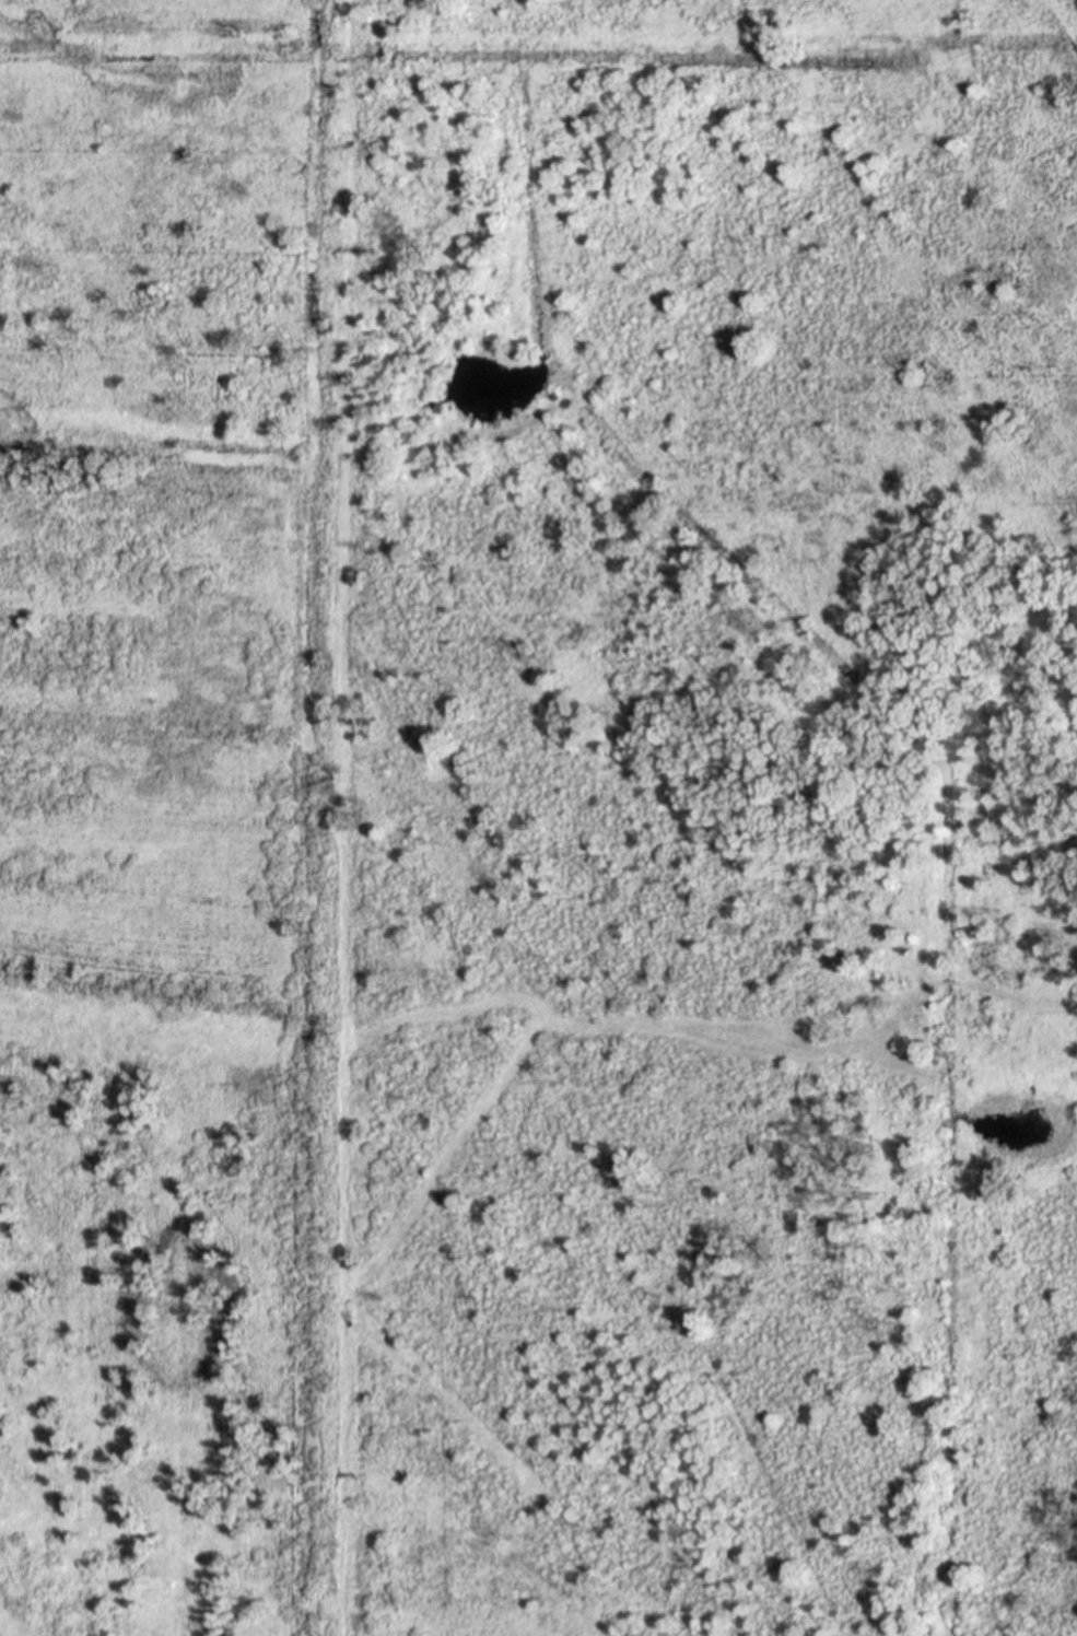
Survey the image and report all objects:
building: (557, 397)
building: (945, 982)
building: (343, 1304)

